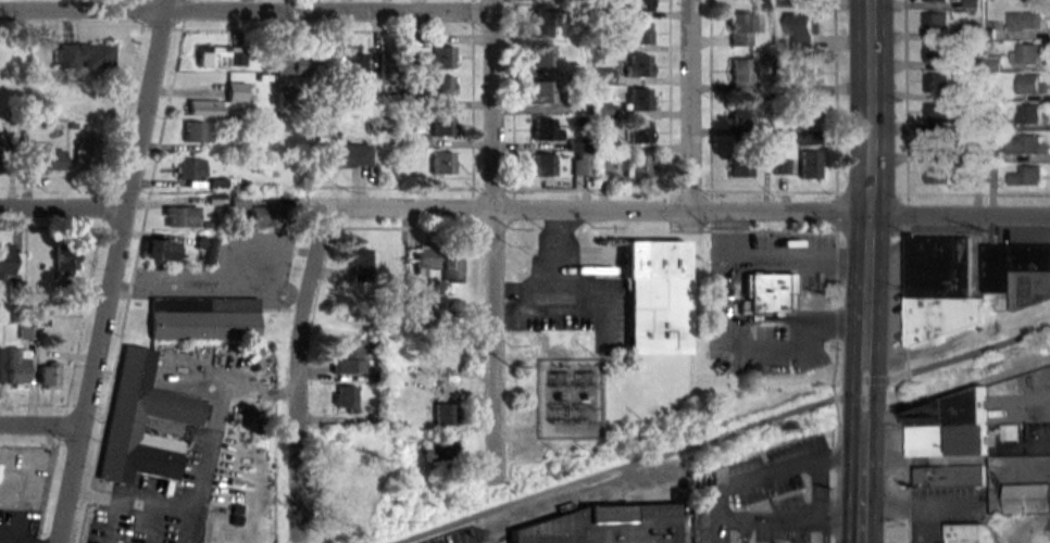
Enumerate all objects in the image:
park: (26, 0)
building: (938, 0)
building: (637, 7)
road: (251, 13)
building: (1028, 21)
building: (937, 22)
building: (542, 23)
building: (741, 30)
building: (809, 30)
building: (637, 34)
building: (938, 52)
building: (1030, 53)
building: (83, 56)
building: (542, 56)
building: (220, 58)
building: (441, 59)
building: (414, 60)
building: (293, 66)
building: (636, 67)
building: (388, 68)
building: (353, 70)
building: (808, 73)
building: (740, 76)
building: (939, 81)
building: (1033, 84)
building: (440, 87)
building: (236, 93)
building: (542, 93)
building: (285, 100)
building: (86, 102)
building: (637, 102)
road: (689, 105)
building: (202, 109)
building: (943, 112)
building: (1030, 114)
building: (809, 117)
building: (739, 122)
building: (441, 125)
building: (545, 130)
building: (196, 132)
building: (638, 134)
building: (417, 142)
building: (939, 142)
building: (1028, 144)
building: (1, 153)
building: (86, 156)
building: (342, 157)
building: (46, 160)
building: (441, 164)
building: (542, 166)
building: (738, 166)
building: (809, 166)
building: (637, 167)
building: (189, 169)
building: (939, 174)
building: (1028, 176)
building: (237, 202)
road: (695, 212)
road: (66, 216)
building: (179, 216)
building: (264, 217)
road: (501, 241)
building: (161, 250)
building: (205, 251)
building: (62, 256)
road: (779, 256)
building: (425, 260)
building: (10, 262)
building: (387, 263)
building: (359, 265)
building: (452, 267)
road: (123, 271)
road: (870, 271)
building: (1018, 273)
building: (941, 287)
building: (765, 289)
building: (654, 299)
building: (451, 307)
building: (197, 323)
road: (749, 349)
building: (0, 365)
road: (301, 365)
building: (15, 367)
building: (347, 367)
building: (47, 376)
building: (346, 397)
power substation: (567, 397)
building: (154, 407)
building: (443, 414)
road: (212, 416)
building: (947, 426)
road: (46, 429)
road: (721, 433)
building: (441, 450)
road: (765, 468)
building: (951, 475)
road: (820, 482)
building: (1027, 497)
building: (345, 503)
road: (132, 504)
road: (793, 513)
road: (108, 521)
building: (603, 521)
road: (186, 530)
building: (967, 533)

